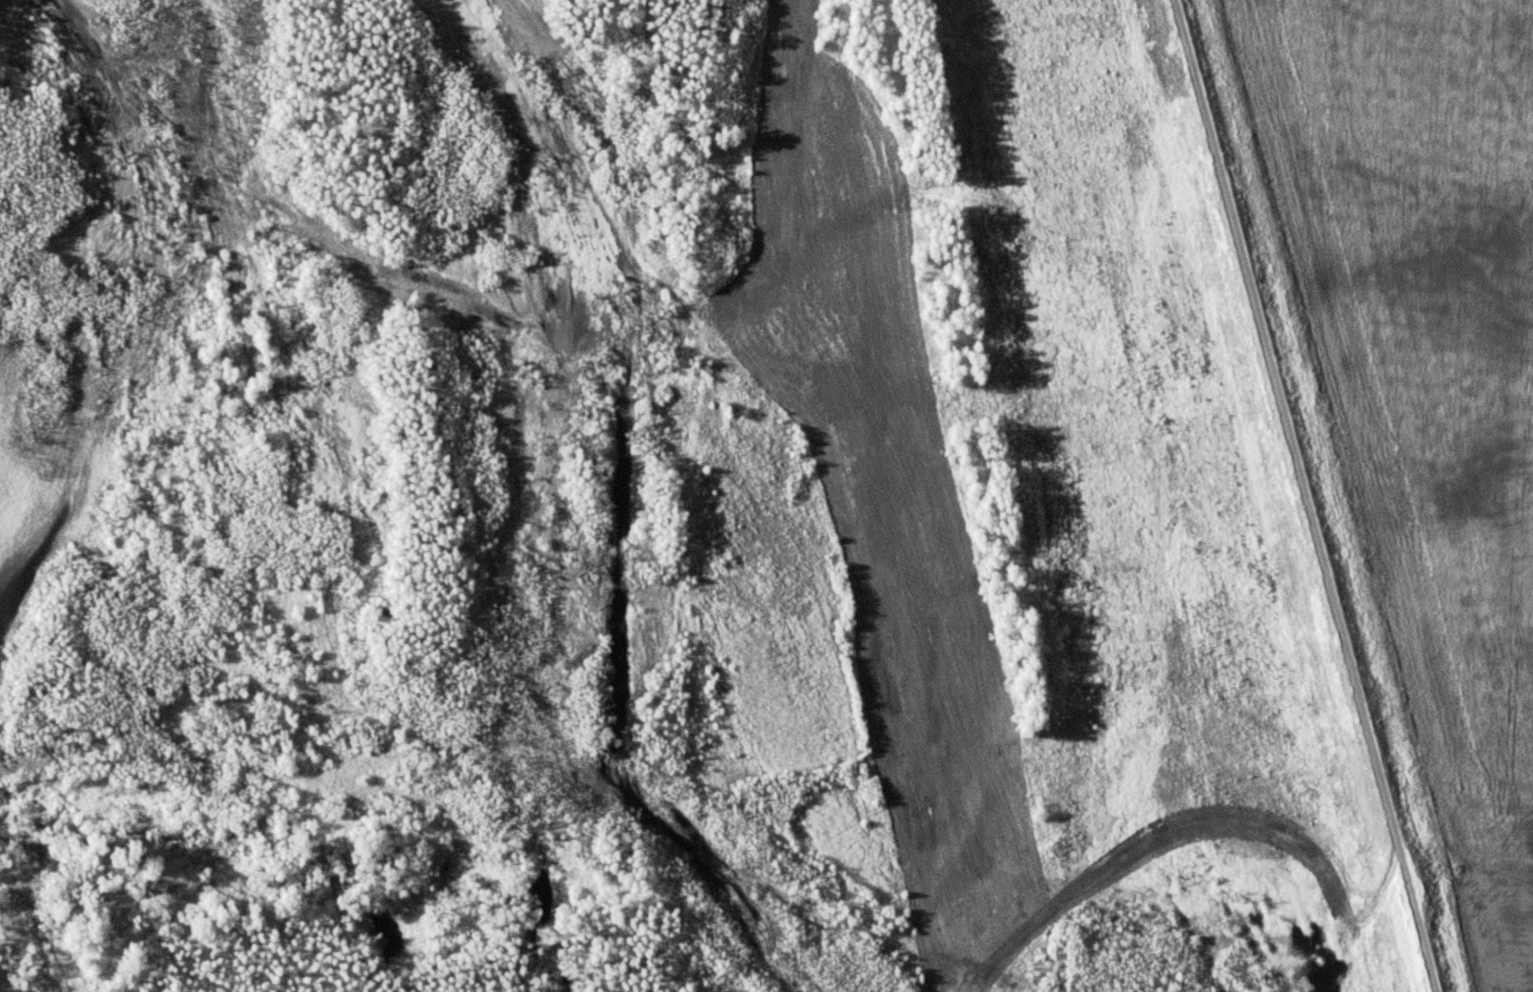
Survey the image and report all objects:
road: (1304, 496)

